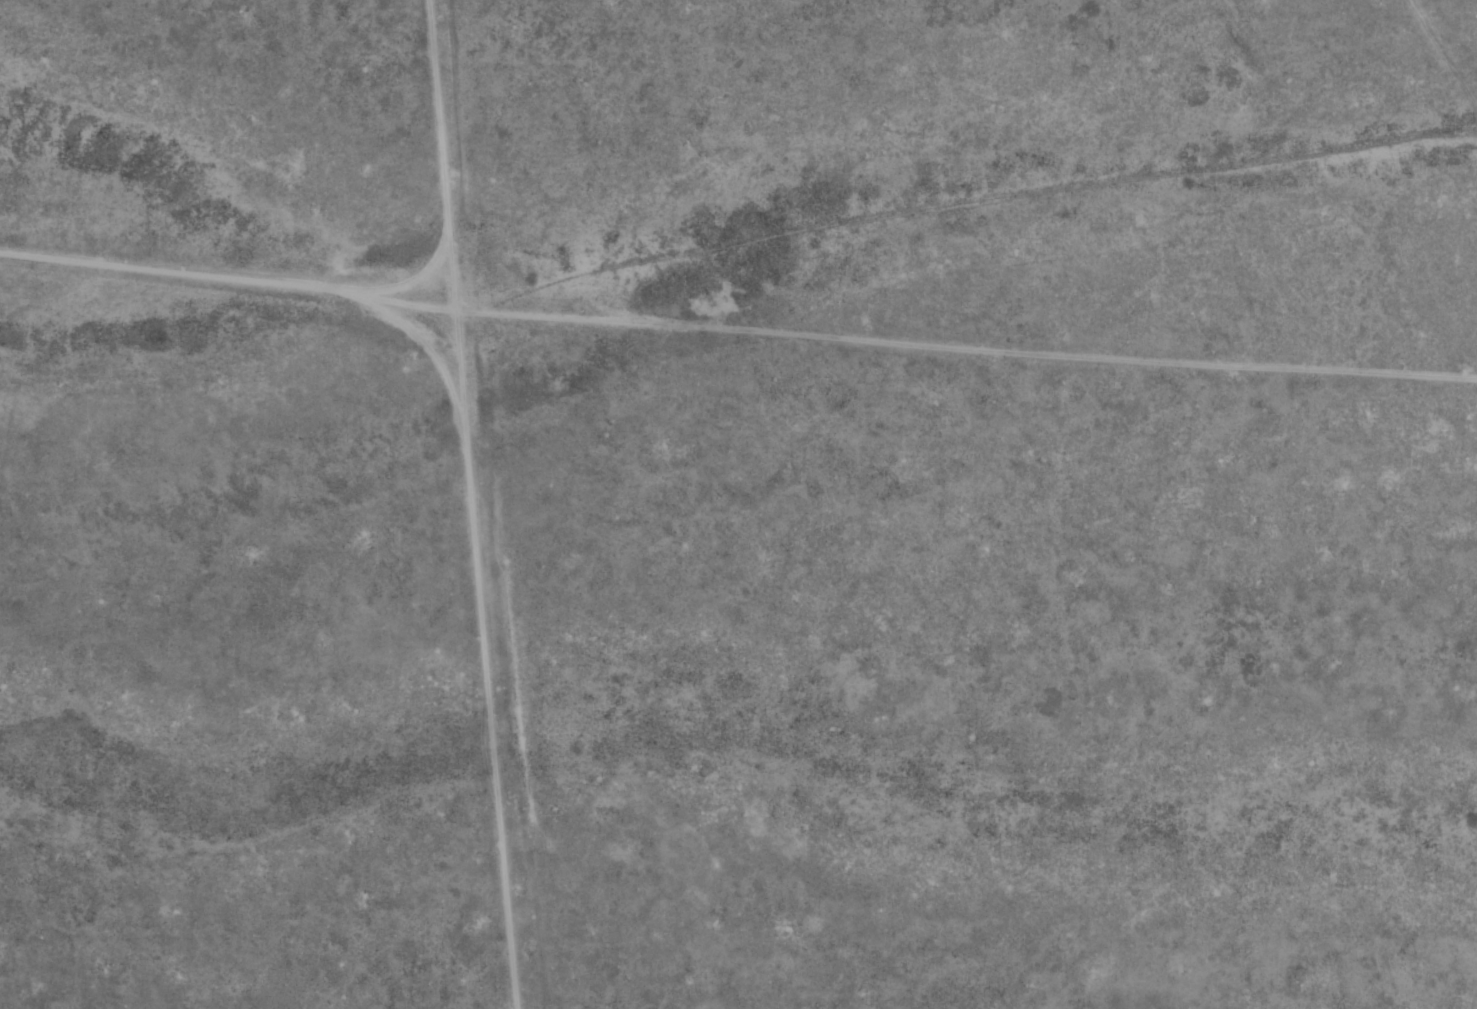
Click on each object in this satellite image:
road: (738, 280)
road: (443, 504)

